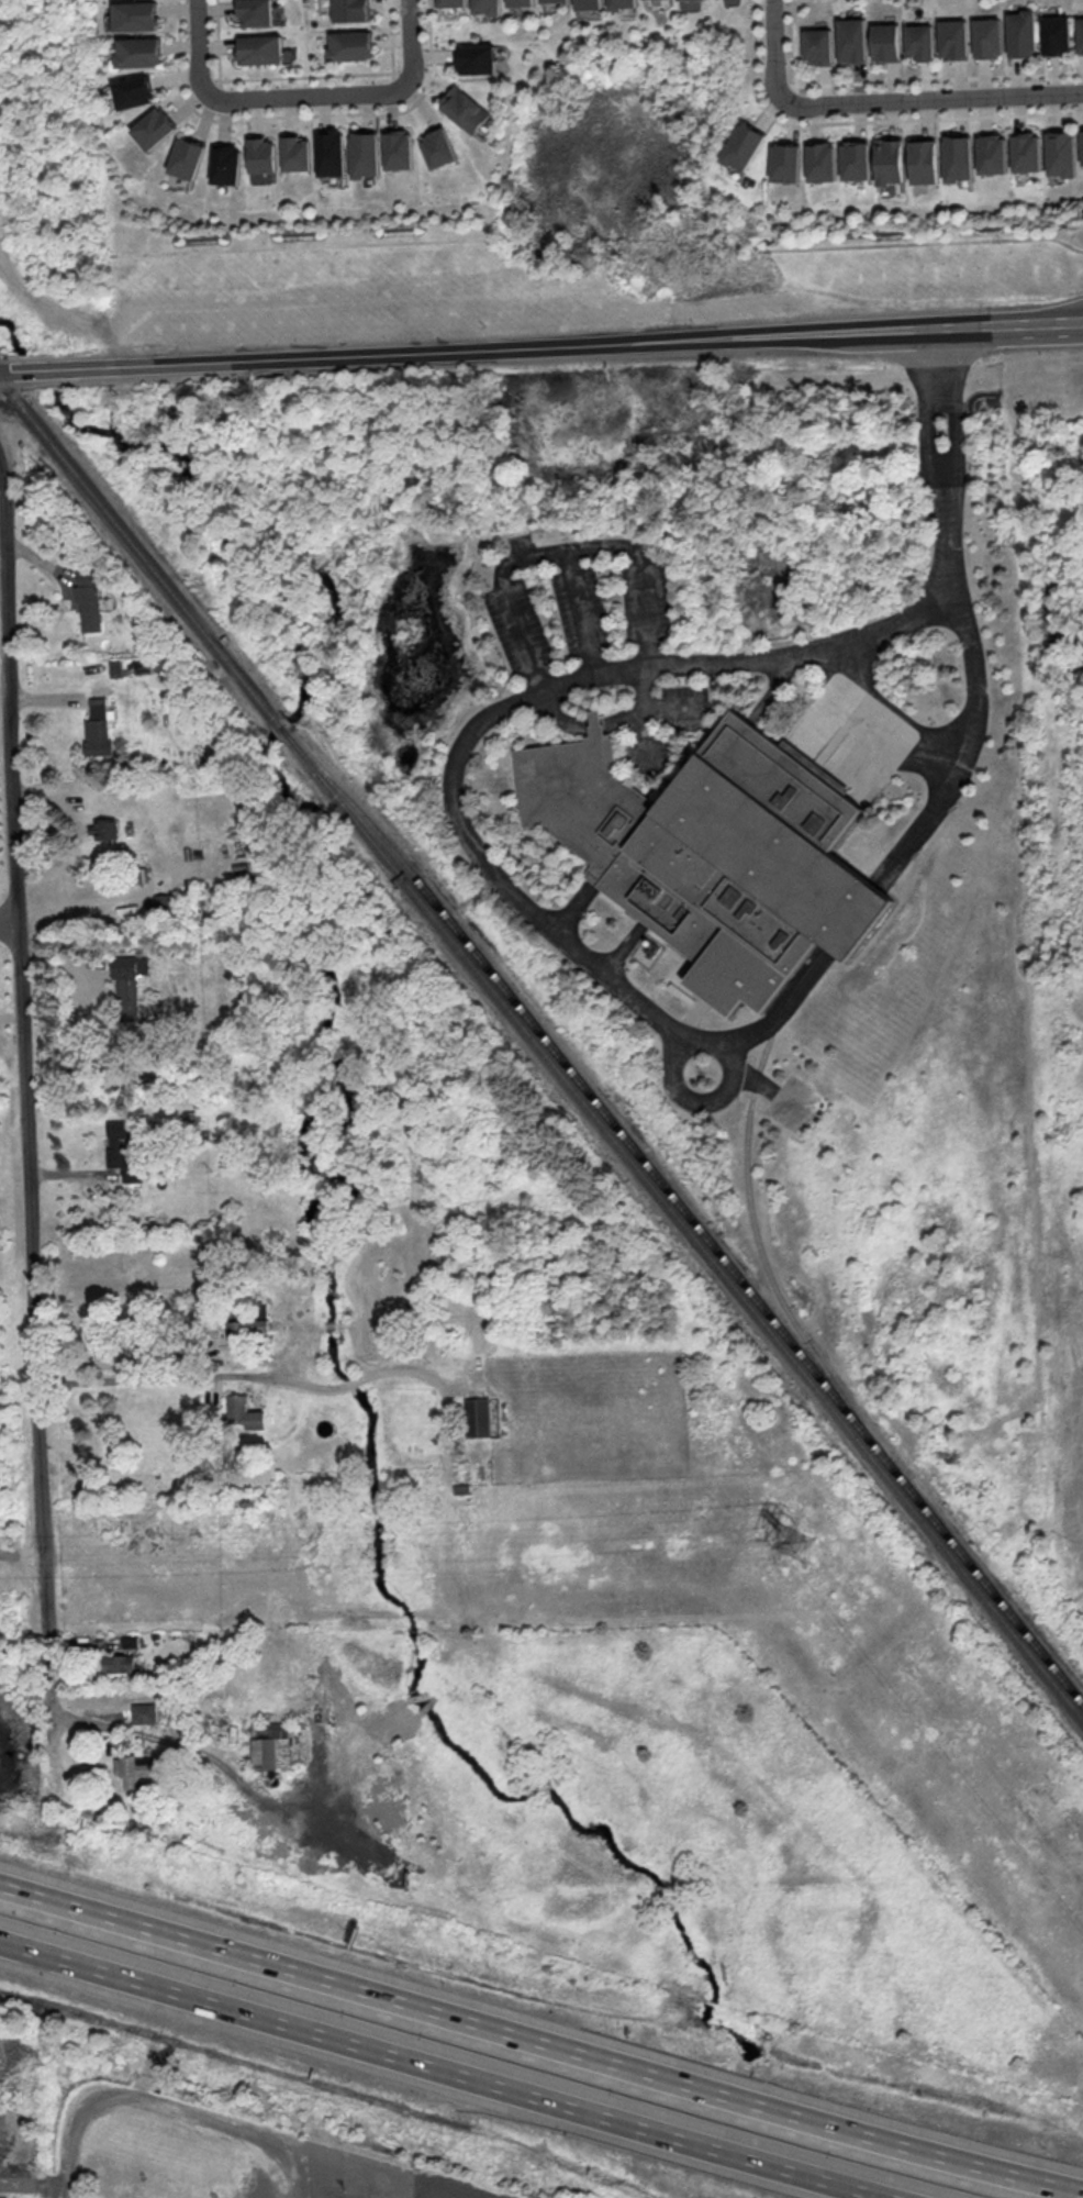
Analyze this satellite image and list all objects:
building: (555, 1)
building: (453, 2)
building: (521, 2)
building: (590, 4)
building: (624, 4)
building: (487, 7)
building: (351, 10)
building: (256, 12)
building: (135, 15)
building: (1023, 33)
building: (1080, 33)
building: (1058, 34)
building: (990, 37)
building: (956, 38)
building: (852, 40)
building: (922, 41)
building: (886, 42)
building: (351, 45)
road: (415, 45)
building: (819, 46)
building: (260, 49)
building: (138, 52)
building: (478, 58)
road: (64, 73)
building: (134, 91)
road: (261, 100)
road: (882, 101)
building: (466, 109)
building: (155, 127)
park: (47, 129)
building: (1082, 144)
building: (744, 146)
building: (440, 148)
building: (400, 149)
building: (1027, 152)
building: (298, 153)
building: (332, 153)
building: (263, 154)
building: (366, 154)
building: (993, 154)
building: (1062, 154)
building: (959, 157)
building: (188, 158)
building: (857, 159)
building: (891, 160)
building: (925, 160)
building: (786, 162)
building: (823, 162)
building: (227, 164)
road: (928, 241)
road: (301, 245)
road: (63, 315)
road: (959, 328)
road: (473, 348)
road: (58, 367)
road: (3, 369)
road: (952, 402)
road: (927, 404)
parking lot: (522, 542)
railway: (136, 545)
road: (561, 547)
building: (88, 598)
parking lot: (646, 600)
parking lot: (580, 608)
road: (581, 610)
parking lot: (517, 625)
building: (119, 667)
road: (555, 685)
road: (643, 704)
parking lot: (684, 706)
road: (606, 719)
building: (595, 722)
road: (879, 722)
railway: (281, 726)
building: (97, 729)
railway: (286, 731)
parking lot: (849, 735)
road: (961, 746)
parking lot: (649, 754)
building: (103, 828)
building: (713, 854)
road: (573, 904)
road: (9, 918)
road: (625, 946)
road: (781, 1009)
road: (673, 1069)
road: (25, 1135)
building: (120, 1157)
railway: (690, 1215)
railway: (686, 1226)
railway: (759, 1247)
building: (246, 1323)
road: (145, 1361)
road: (404, 1370)
road: (187, 1377)
road: (360, 1378)
road: (348, 1383)
building: (243, 1412)
building: (477, 1417)
power tower: (792, 1544)
building: (118, 1663)
building: (144, 1712)
building: (271, 1745)
building: (131, 1769)
road: (541, 2042)
road: (455, 2068)
road: (75, 2114)
road: (291, 2147)
road: (33, 2184)

